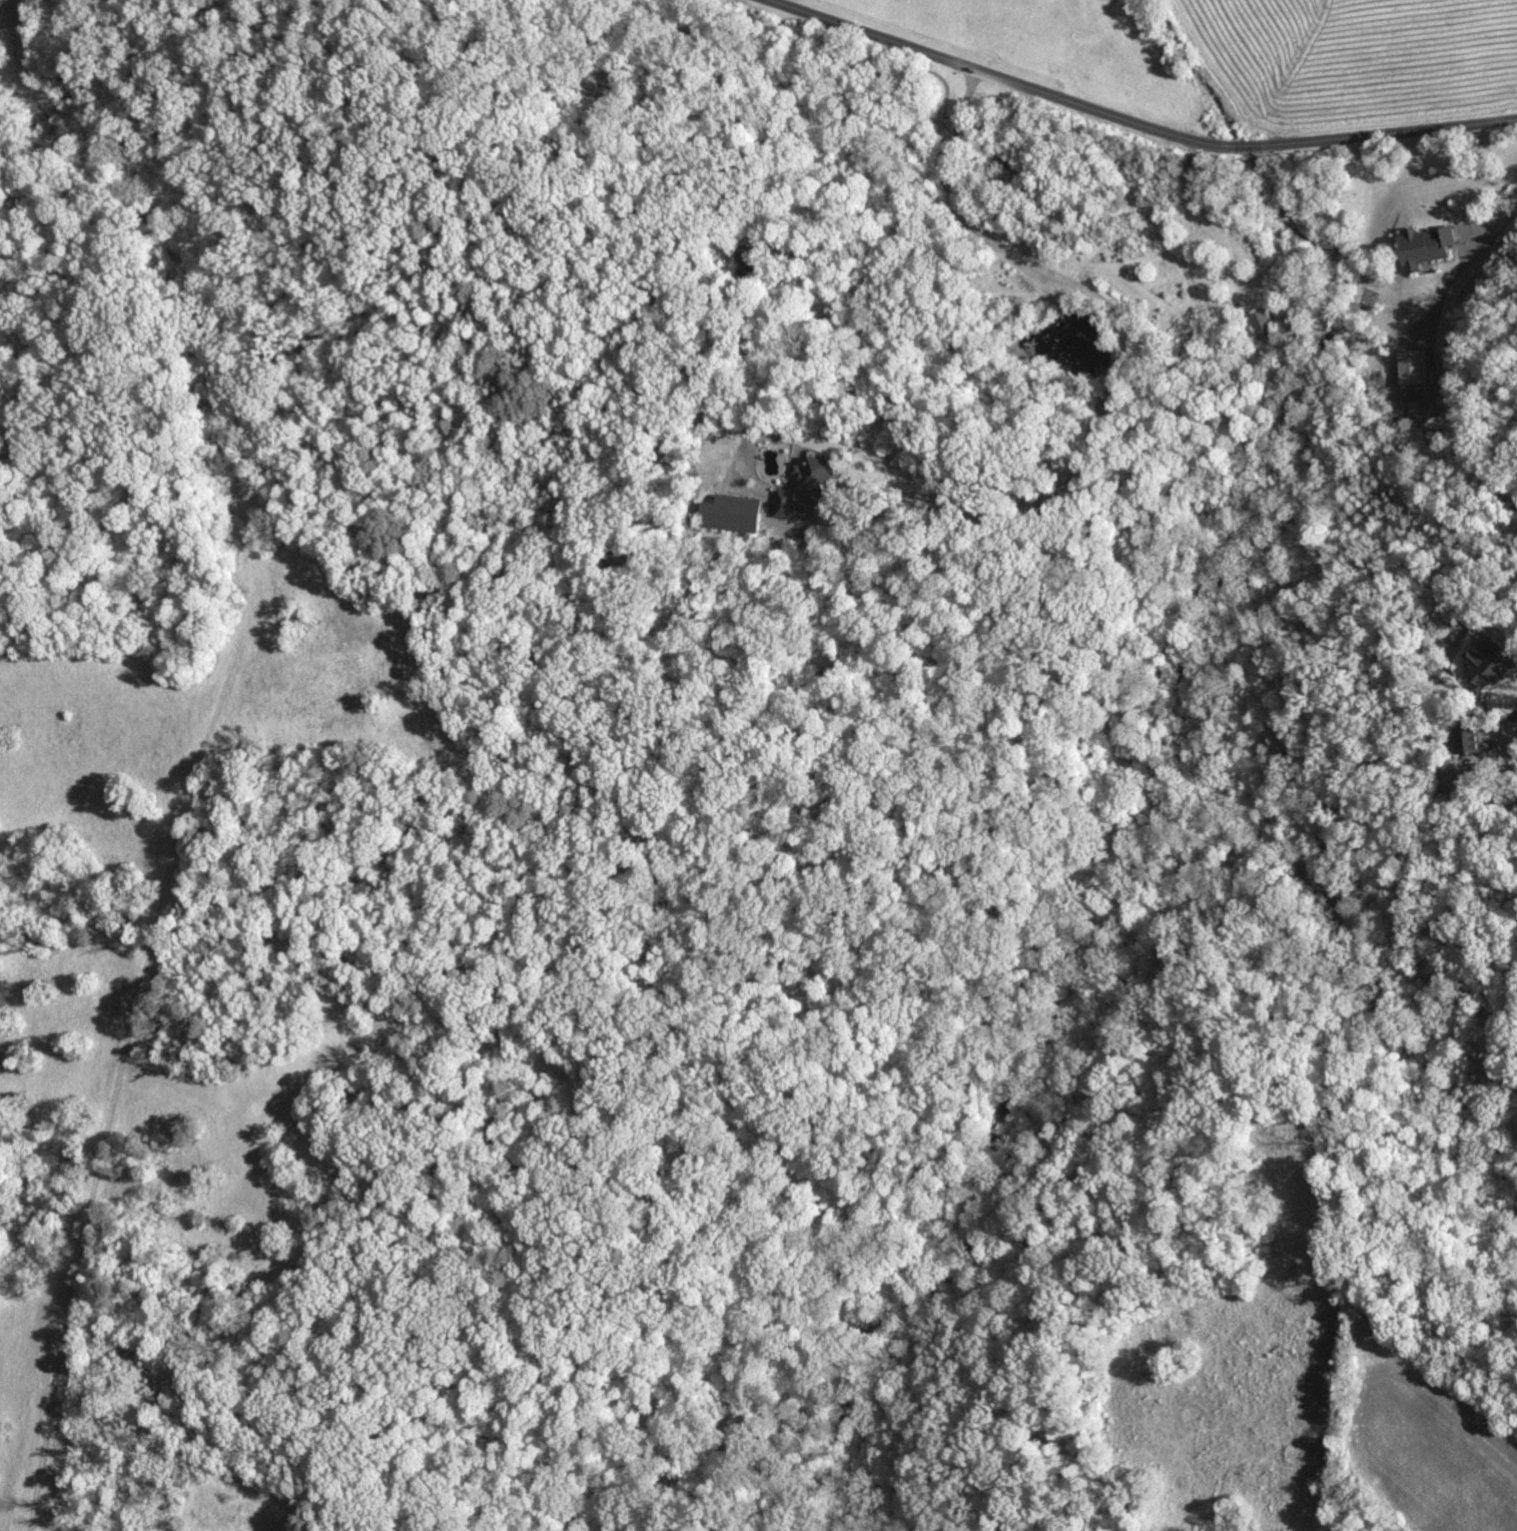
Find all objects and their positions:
road: (1134, 122)
road: (1495, 216)
building: (1423, 248)
road: (1442, 290)
building: (1266, 325)
building: (1412, 367)
road: (1120, 371)
building: (812, 484)
building: (734, 515)
building: (1494, 662)
building: (1470, 740)

